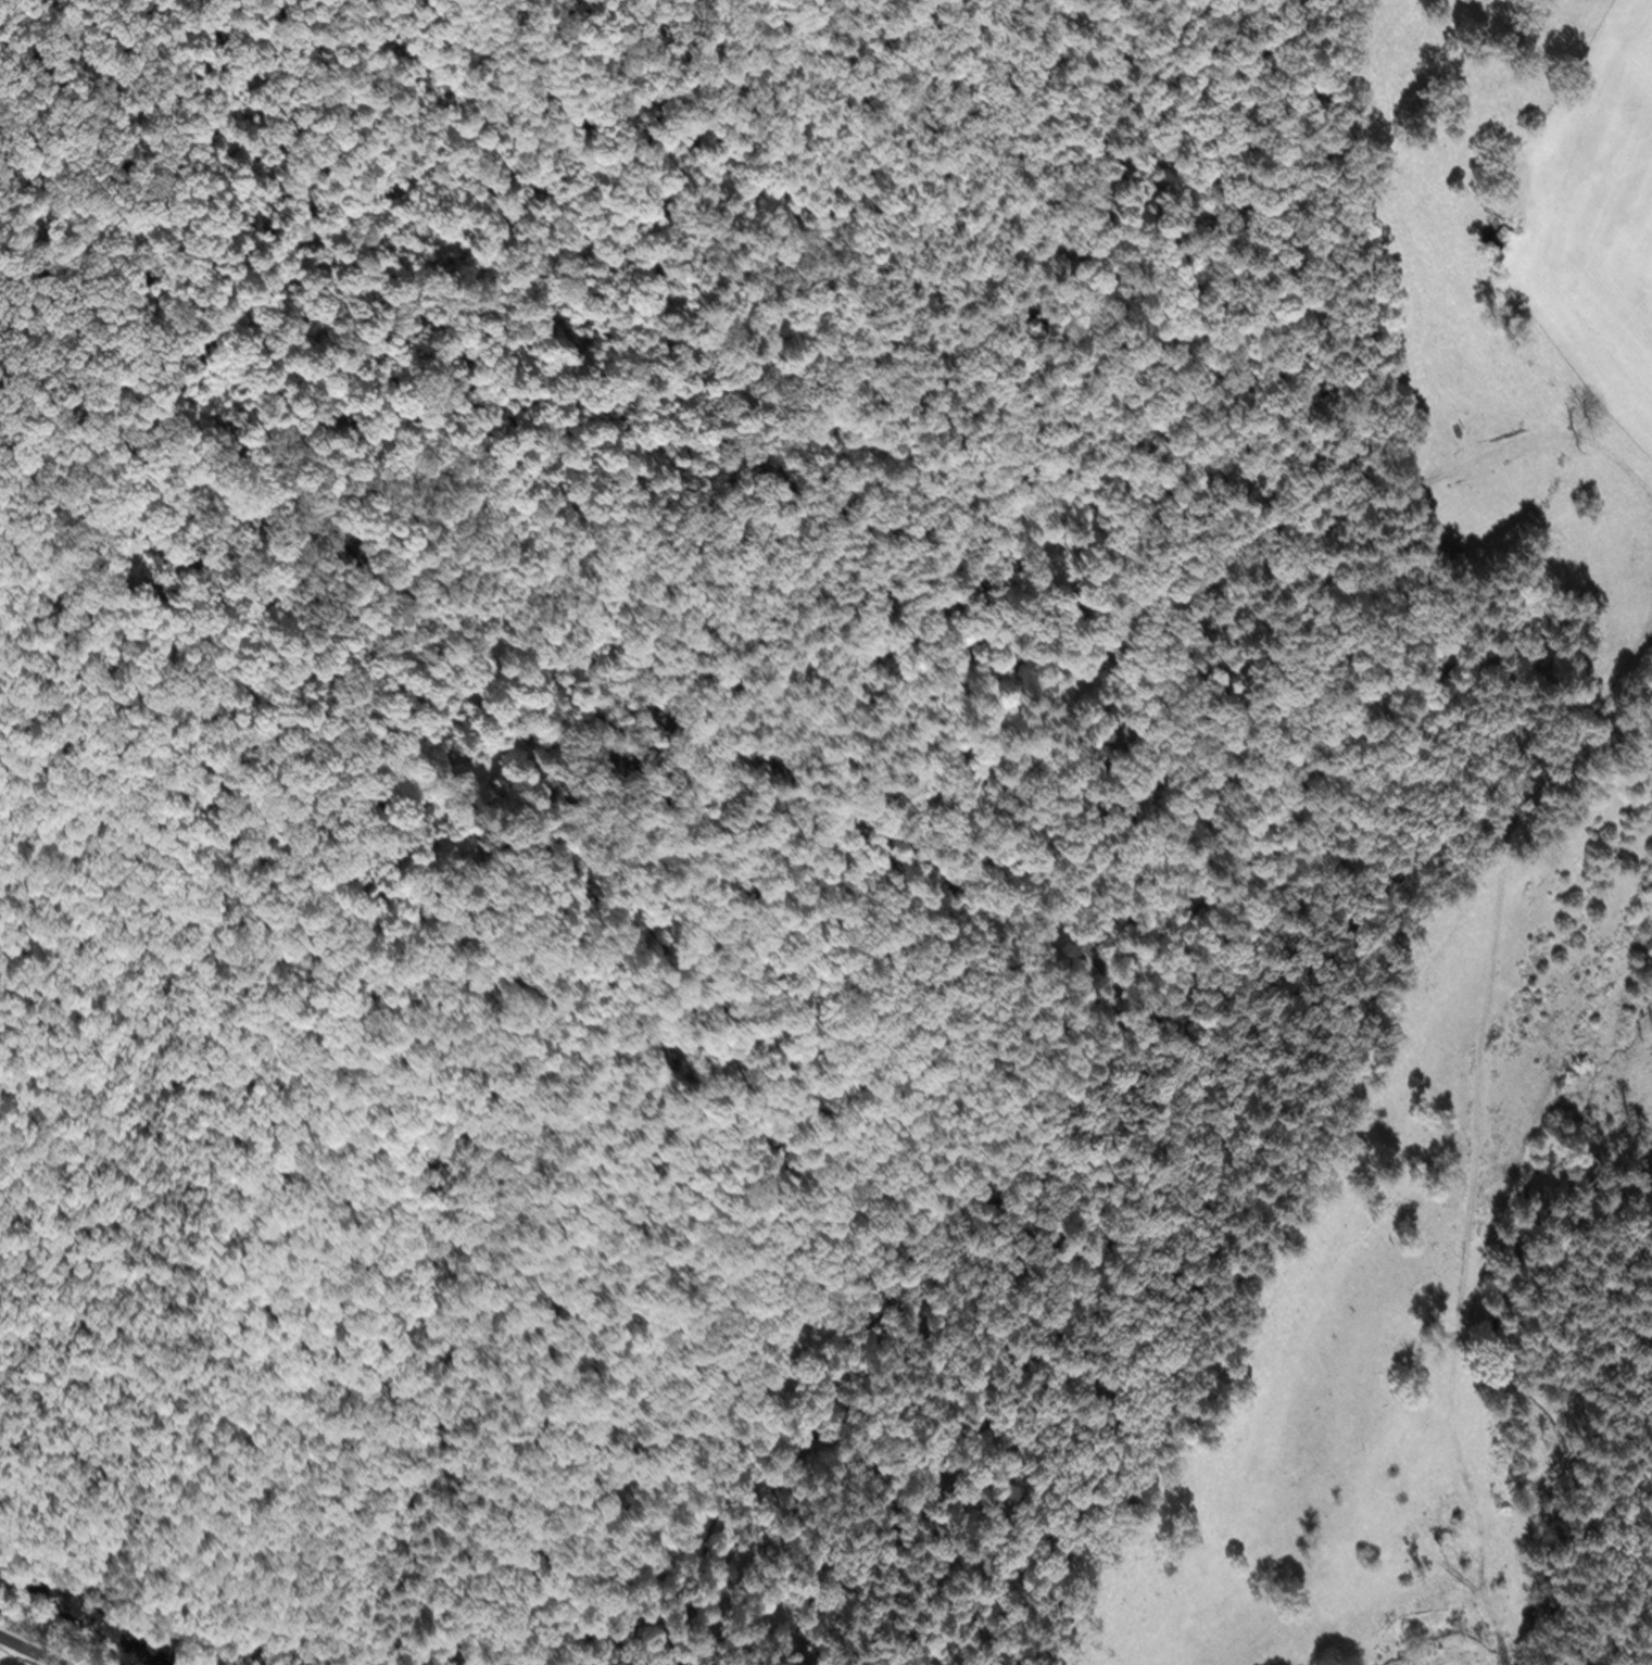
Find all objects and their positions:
road: (31, 1650)

